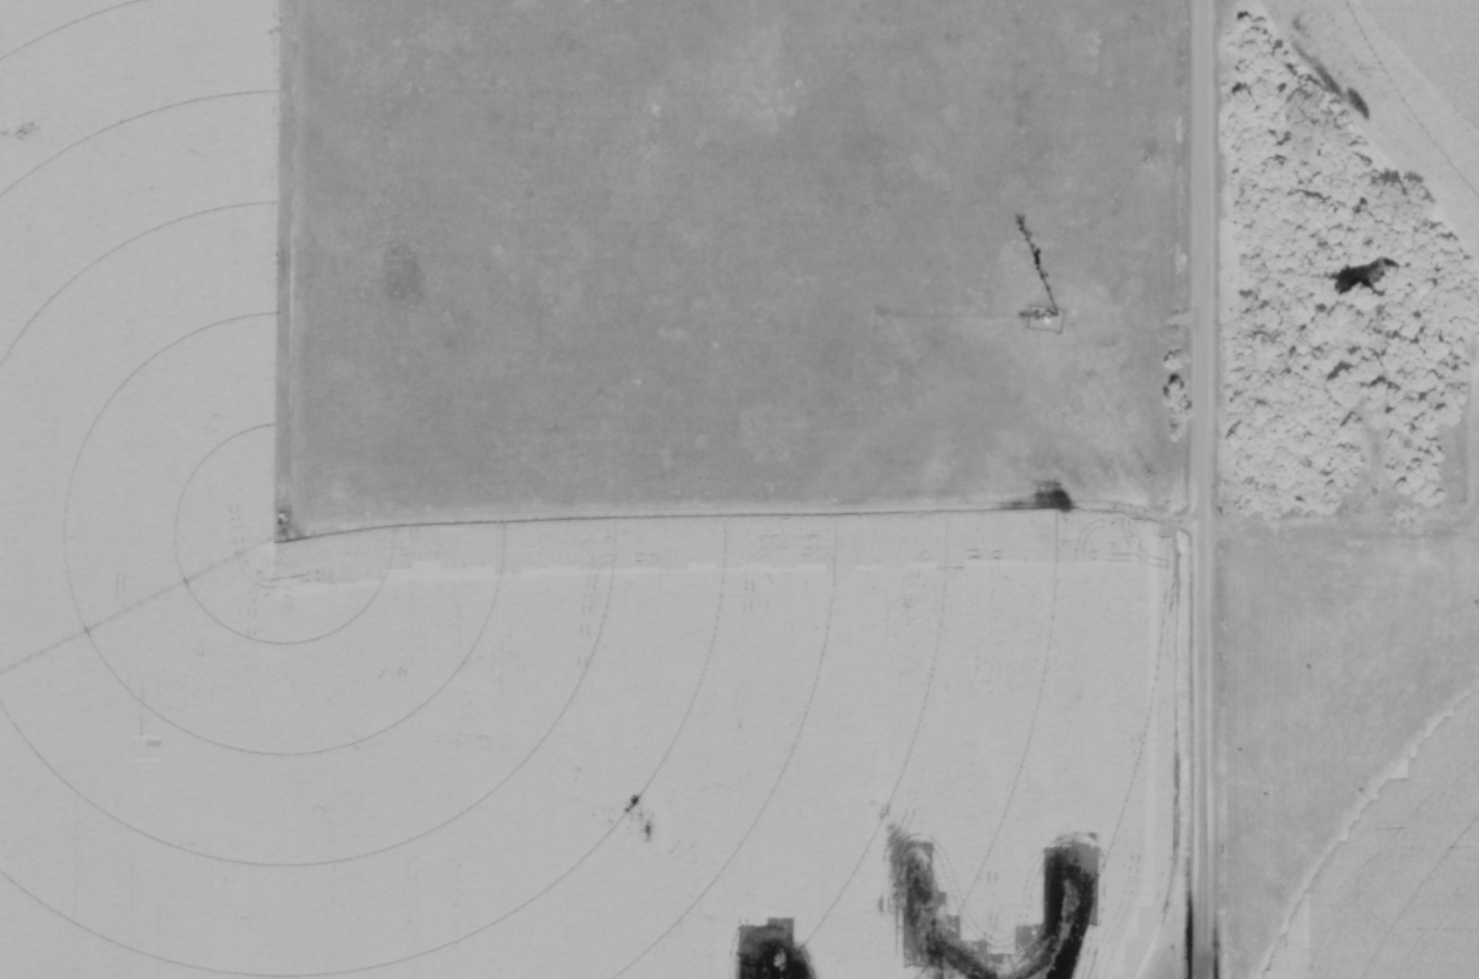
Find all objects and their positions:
road: (1201, 489)

